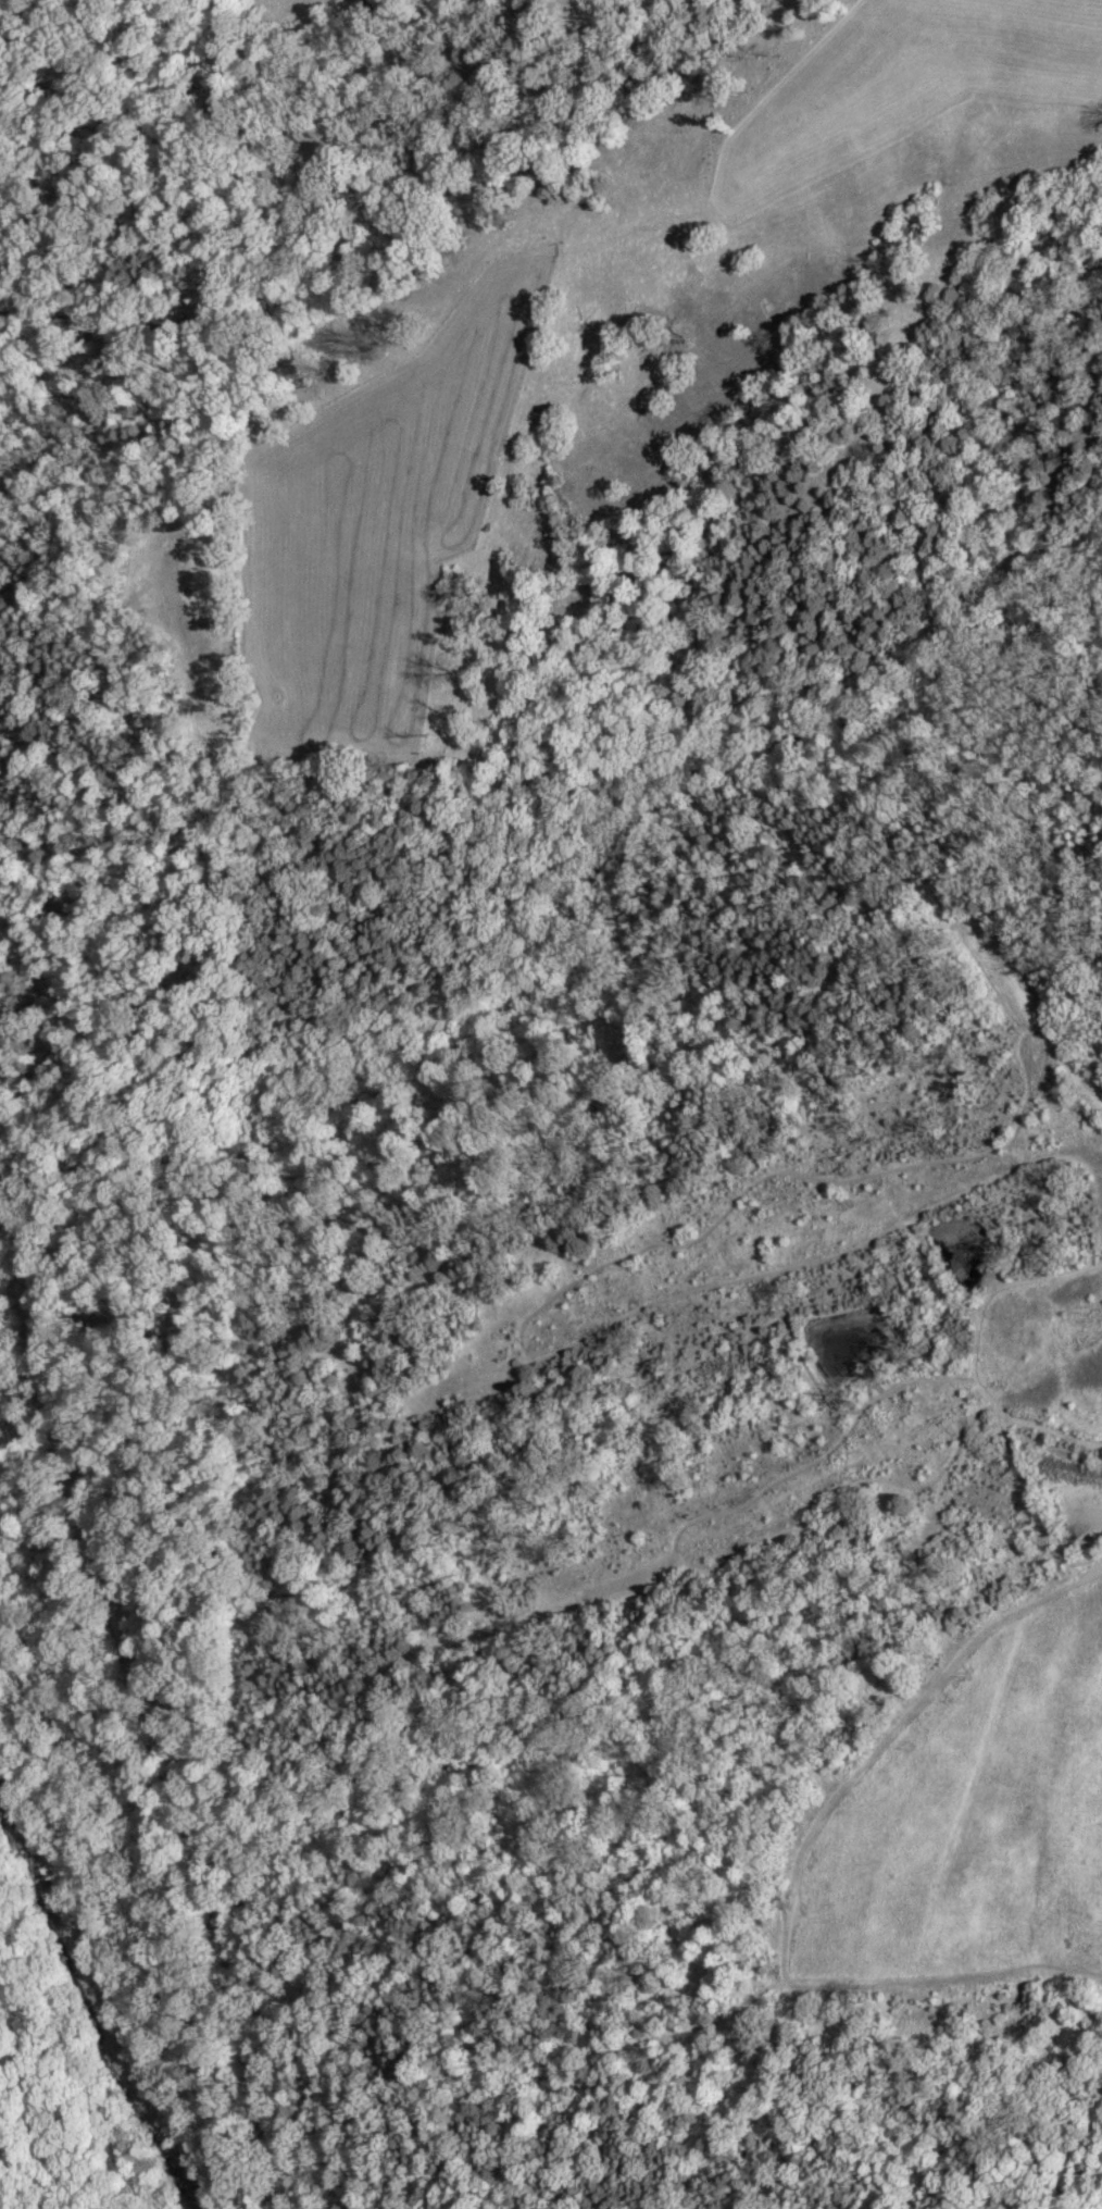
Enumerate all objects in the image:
road: (142, 1680)

